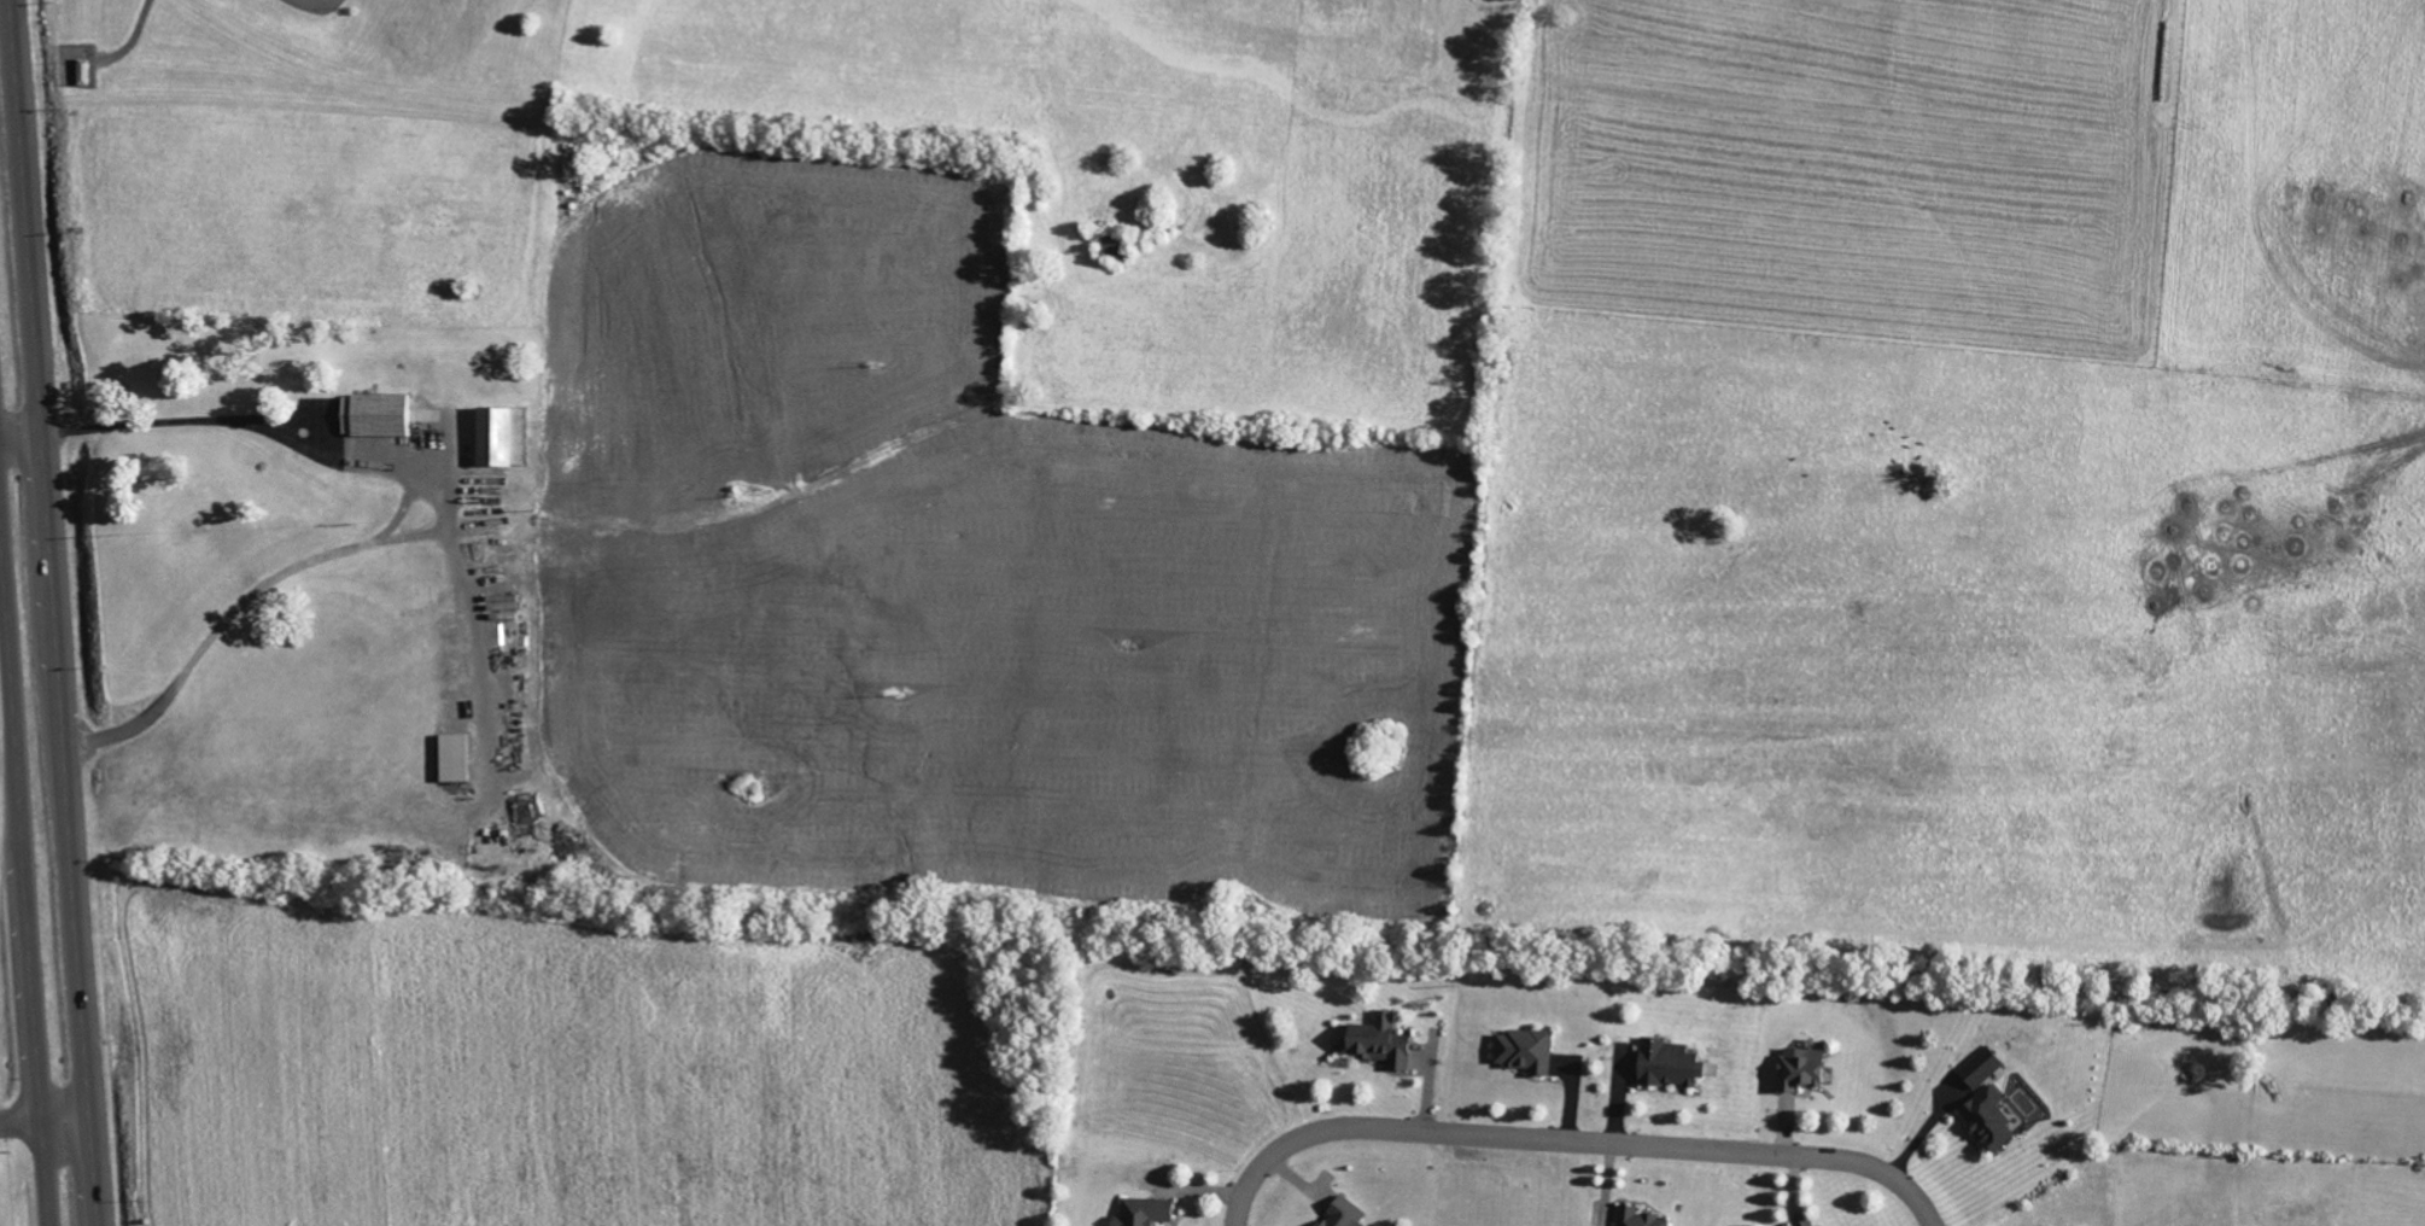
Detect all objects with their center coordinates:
park: (1257, 276)
building: (374, 415)
road: (19, 436)
building: (497, 437)
road: (398, 512)
road: (408, 535)
road: (51, 613)
road: (468, 619)
building: (450, 758)
road: (23, 883)
building: (1374, 1040)
building: (1523, 1050)
building: (1665, 1062)
building: (1977, 1067)
building: (1795, 1068)
building: (1983, 1117)
road: (43, 1123)
road: (1570, 1142)
building: (1141, 1212)
building: (1339, 1213)
building: (1635, 1216)

